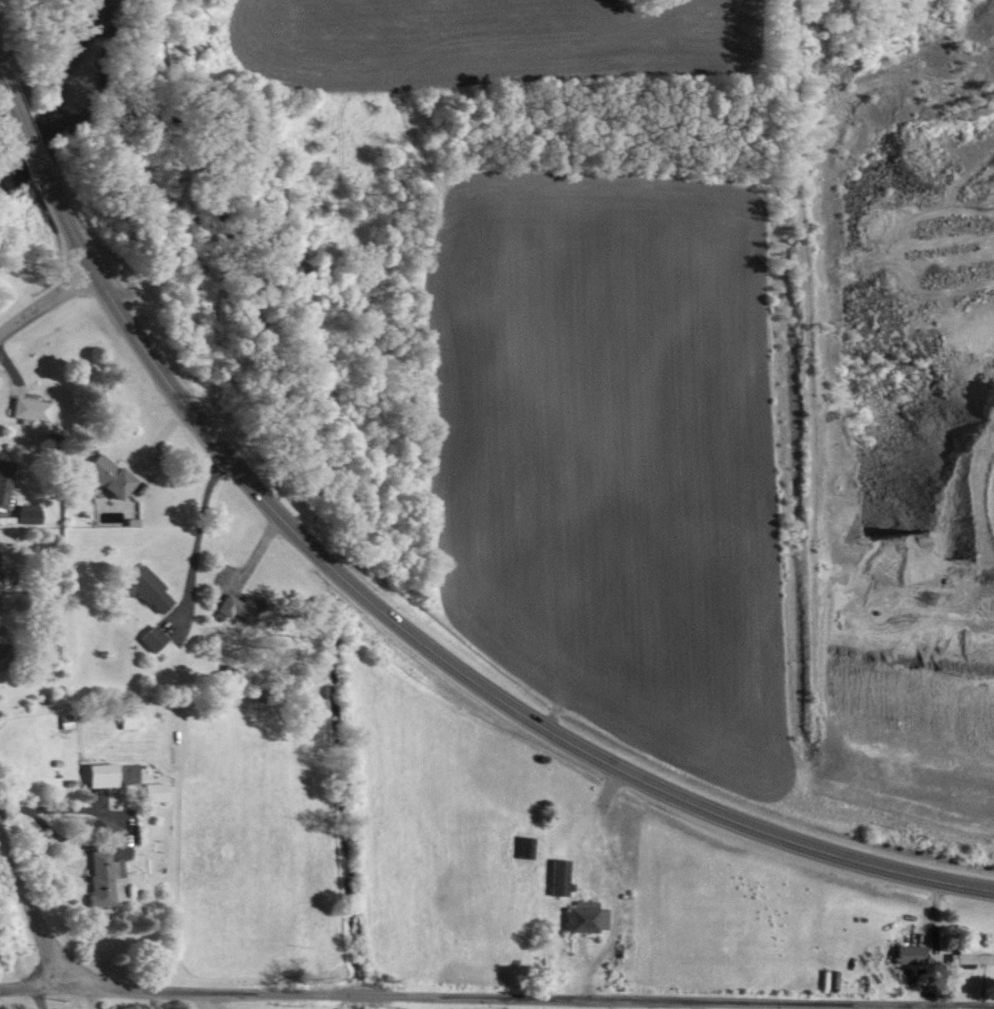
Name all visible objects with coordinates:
road: (45, 304)
building: (25, 409)
building: (2, 474)
building: (101, 474)
building: (22, 512)
building: (142, 587)
building: (240, 608)
road: (388, 620)
building: (148, 638)
building: (96, 774)
building: (150, 791)
building: (520, 847)
building: (98, 876)
building: (555, 876)
road: (607, 885)
road: (49, 897)
road: (29, 918)
building: (581, 918)
road: (931, 941)
building: (903, 954)
building: (955, 956)
road: (496, 998)
road: (56, 1000)
road: (89, 1001)

